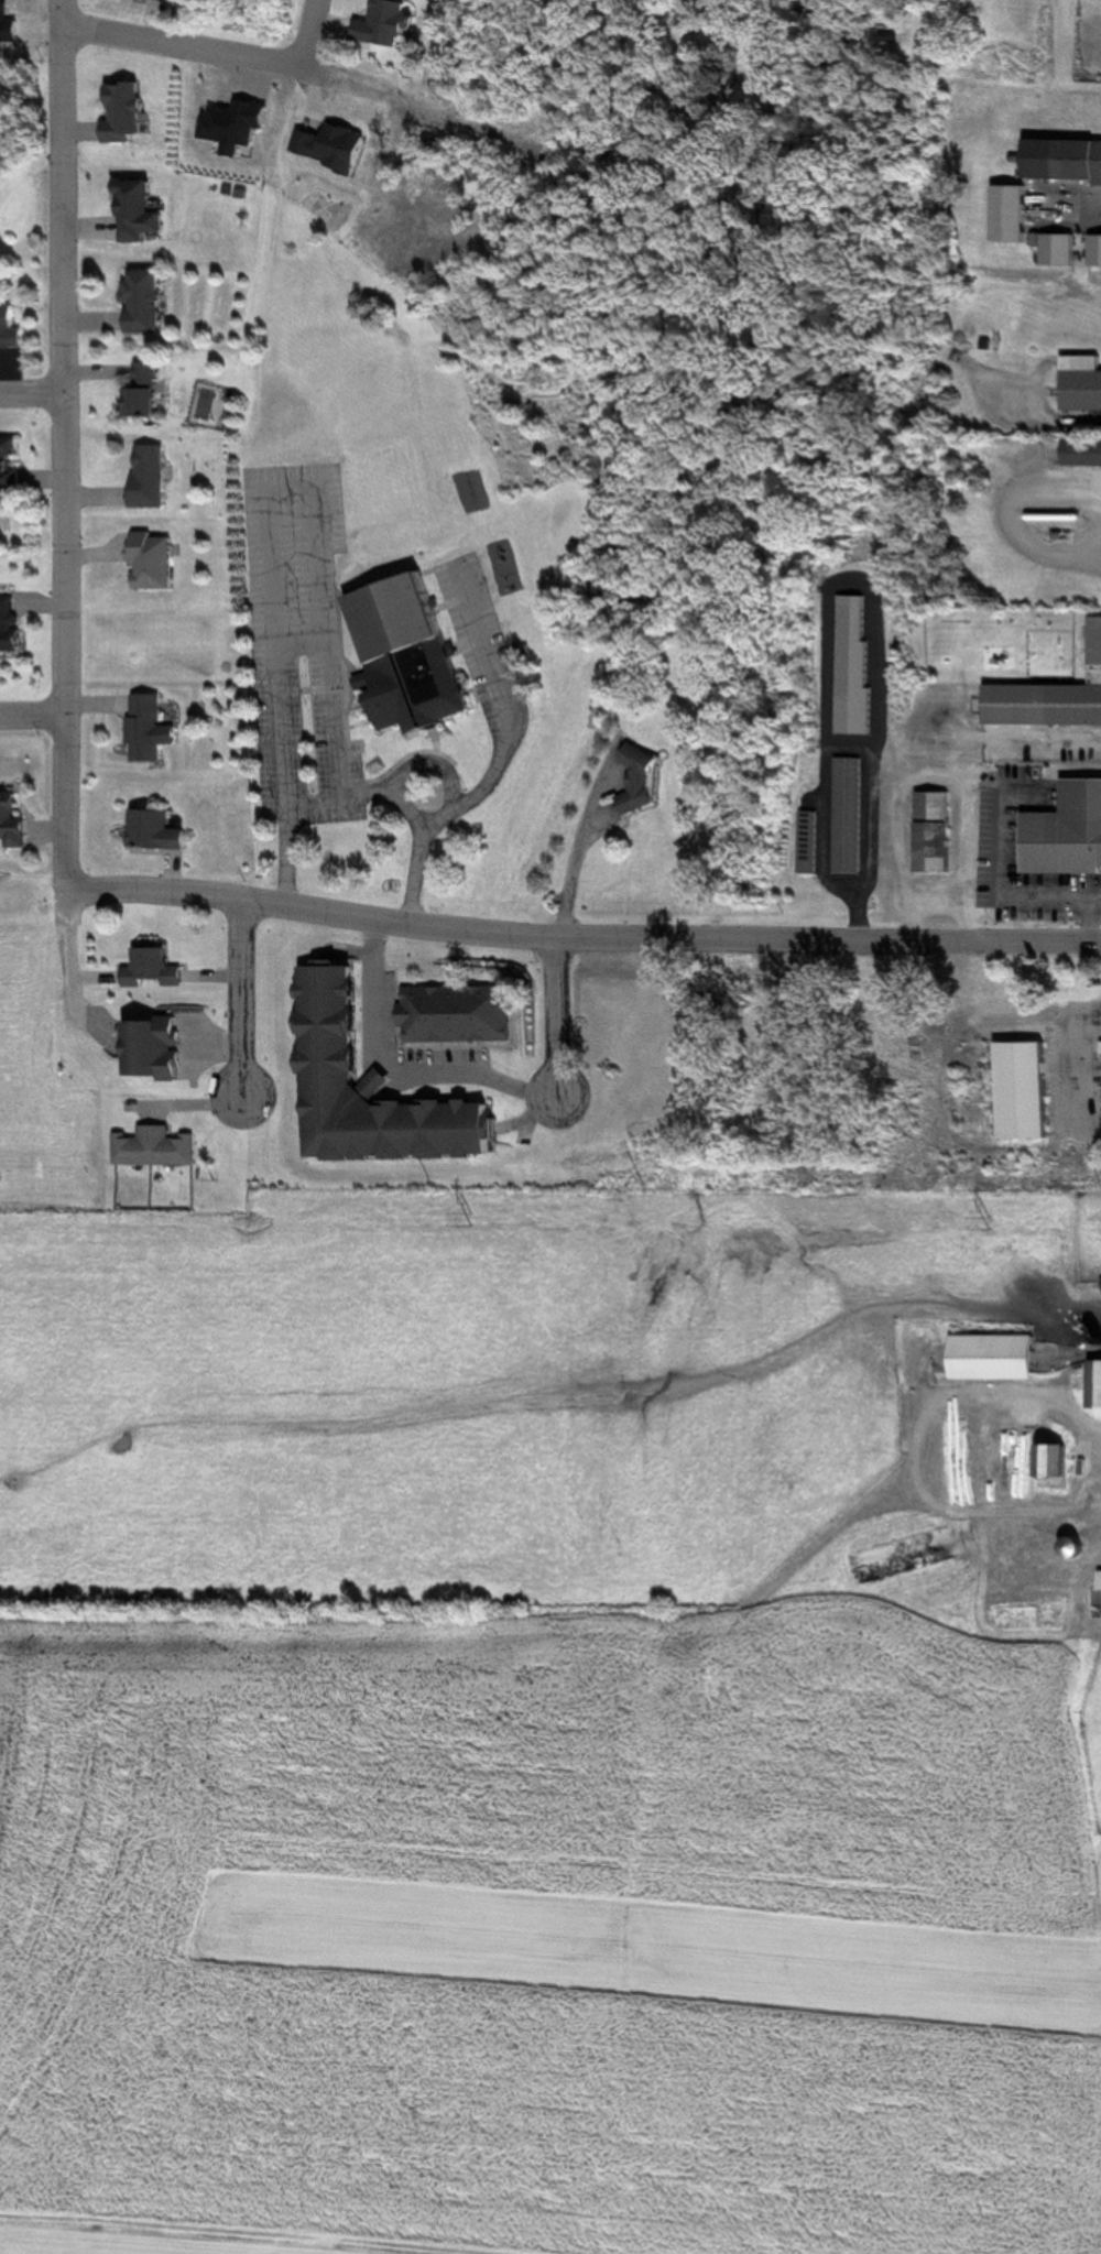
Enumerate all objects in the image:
building: (165, 9)
road: (317, 34)
road: (193, 50)
building: (128, 112)
building: (1065, 160)
building: (141, 213)
building: (1014, 214)
building: (145, 303)
building: (11, 329)
building: (1083, 384)
road: (34, 389)
building: (148, 391)
road: (69, 445)
building: (1083, 455)
building: (12, 464)
building: (151, 476)
road: (283, 484)
building: (155, 560)
building: (12, 625)
building: (412, 654)
building: (1051, 698)
road: (35, 714)
building: (149, 727)
road: (506, 754)
building: (645, 781)
road: (397, 799)
building: (858, 815)
building: (14, 820)
building: (162, 830)
building: (938, 831)
building: (1068, 832)
building: (819, 841)
road: (585, 937)
building: (157, 969)
road: (77, 973)
road: (246, 998)
building: (461, 1014)
building: (159, 1048)
road: (477, 1077)
building: (375, 1090)
building: (1026, 1090)
building: (157, 1147)
power tower: (0, 1218)
power tower: (479, 1220)
power tower: (993, 1223)
building: (998, 1357)
building: (1100, 1384)
road: (931, 1450)
building: (1057, 1461)
building: (1042, 1613)

